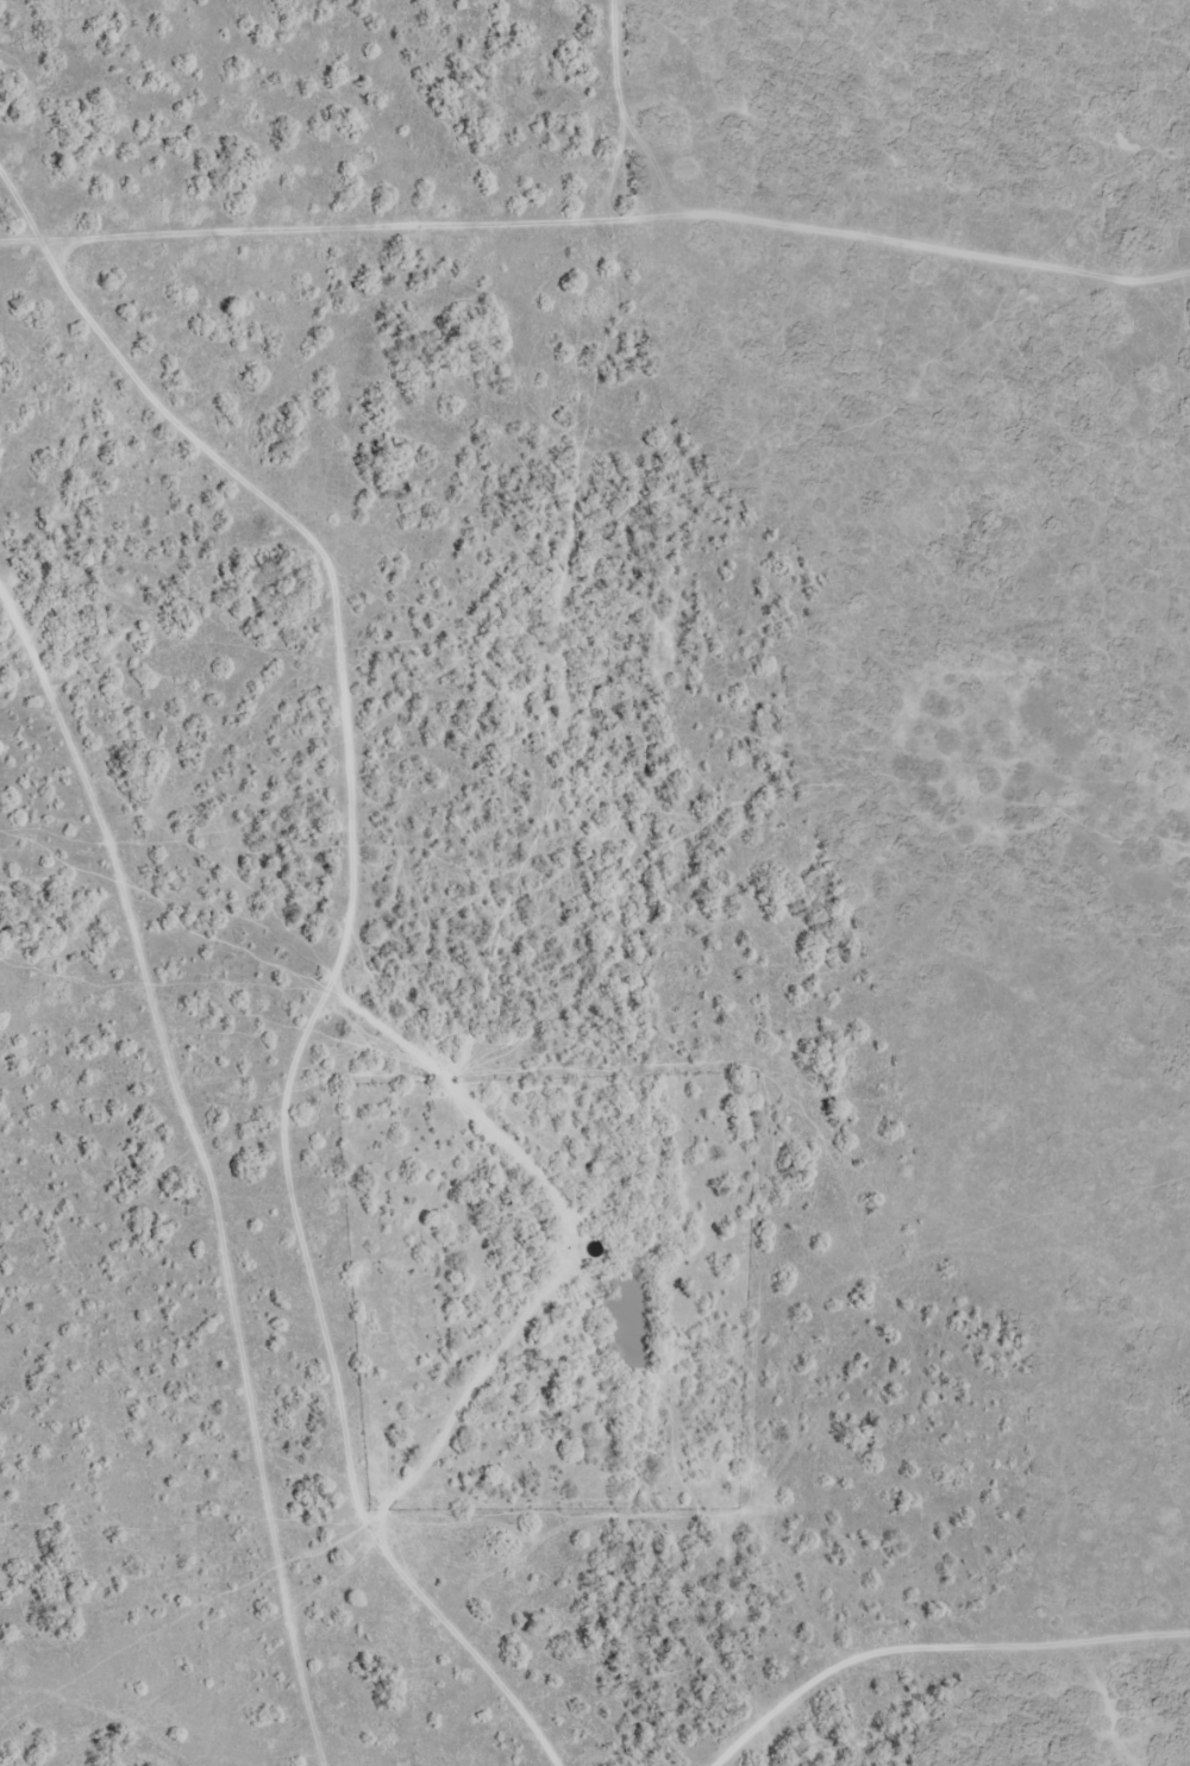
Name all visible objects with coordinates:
road: (480, 590)

